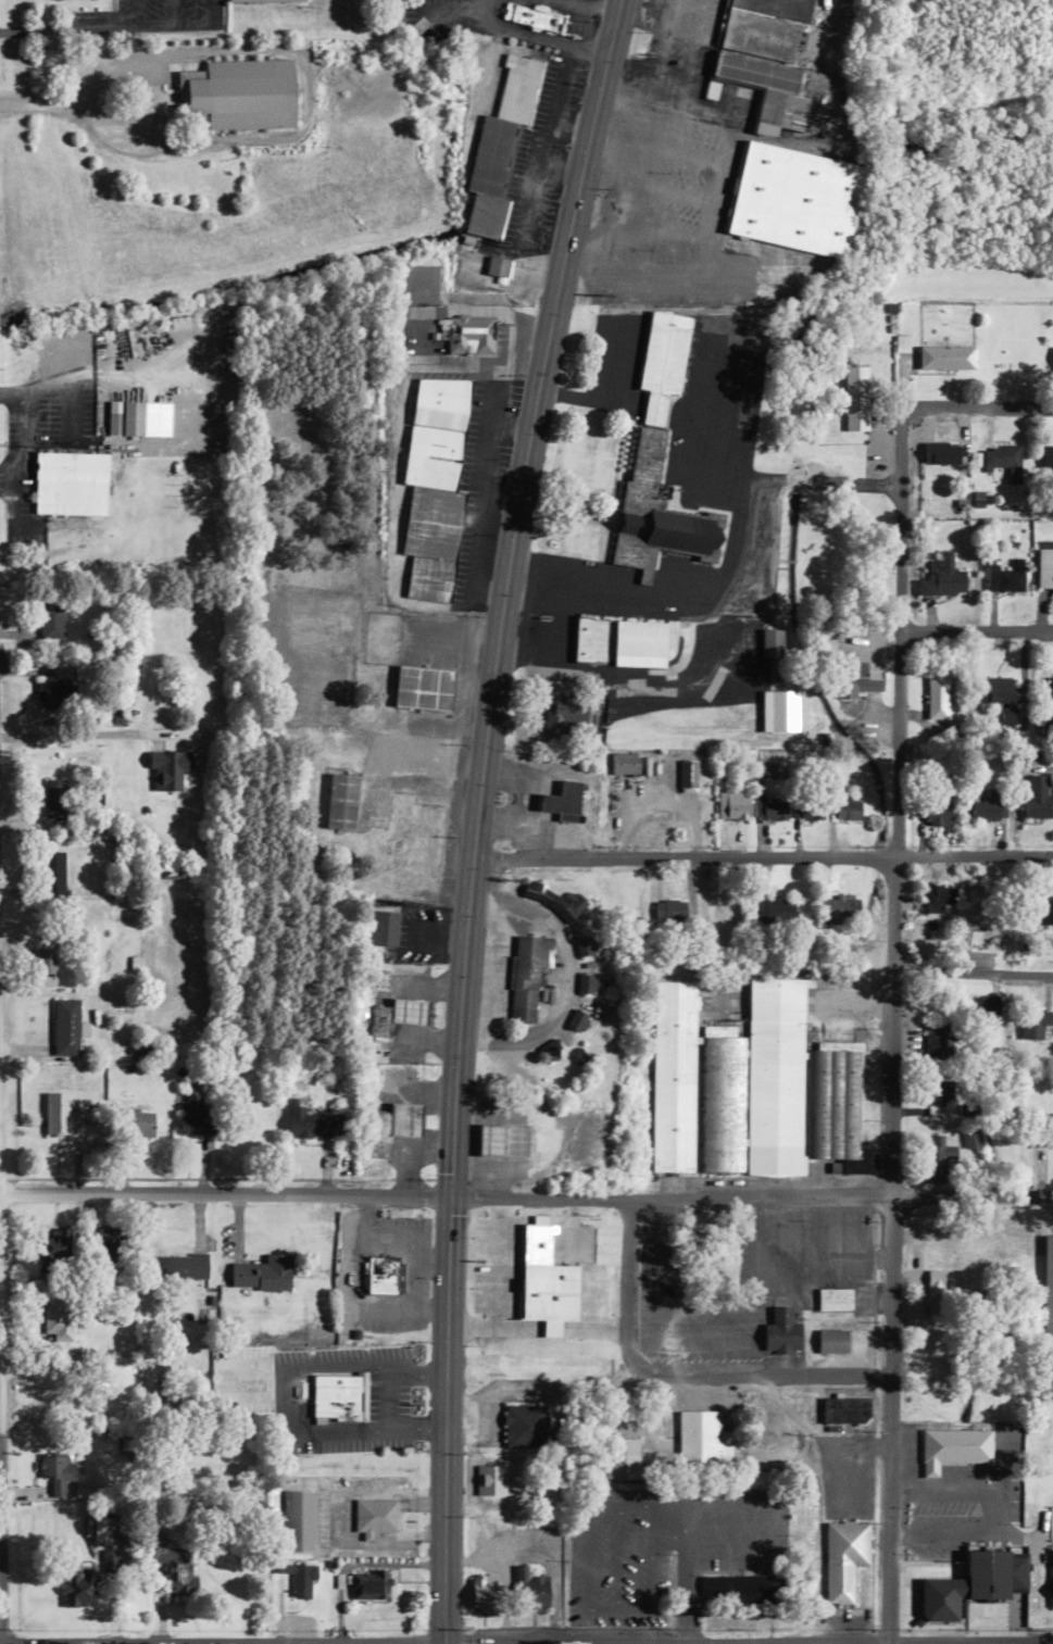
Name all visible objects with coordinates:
building: (261, 0)
road: (590, 5)
road: (457, 7)
building: (530, 15)
road: (534, 35)
building: (759, 42)
building: (237, 93)
building: (499, 143)
building: (792, 198)
building: (496, 265)
building: (469, 335)
building: (947, 356)
building: (661, 367)
building: (855, 398)
road: (979, 407)
building: (124, 418)
building: (940, 453)
building: (1046, 457)
building: (1001, 460)
building: (68, 484)
building: (433, 486)
road: (710, 500)
building: (655, 514)
building: (1044, 568)
building: (943, 577)
building: (1004, 579)
building: (372, 589)
building: (50, 620)
road: (977, 632)
building: (588, 639)
building: (639, 639)
building: (770, 642)
building: (857, 677)
building: (57, 688)
building: (422, 688)
building: (937, 696)
building: (1001, 696)
building: (564, 713)
building: (623, 763)
building: (52, 798)
building: (1038, 798)
building: (340, 801)
building: (562, 802)
building: (732, 805)
building: (987, 805)
building: (848, 807)
building: (768, 808)
building: (806, 808)
building: (936, 814)
road: (475, 815)
building: (406, 833)
road: (761, 858)
building: (172, 869)
building: (51, 877)
building: (936, 898)
building: (551, 900)
building: (979, 904)
building: (1043, 908)
building: (668, 909)
building: (840, 909)
building: (772, 911)
building: (384, 928)
building: (581, 946)
building: (43, 961)
road: (973, 972)
building: (526, 976)
building: (585, 983)
building: (981, 1008)
building: (397, 1016)
building: (577, 1020)
building: (1035, 1022)
road: (891, 1026)
building: (65, 1027)
building: (932, 1036)
building: (550, 1050)
building: (752, 1088)
building: (937, 1091)
building: (59, 1113)
building: (195, 1115)
building: (131, 1121)
building: (312, 1124)
building: (392, 1125)
building: (1052, 1128)
building: (970, 1139)
building: (502, 1140)
building: (935, 1157)
road: (526, 1199)
building: (532, 1242)
building: (51, 1243)
building: (177, 1266)
building: (261, 1272)
building: (381, 1272)
building: (935, 1290)
building: (1046, 1296)
building: (833, 1298)
building: (57, 1317)
building: (781, 1331)
building: (831, 1340)
road: (681, 1371)
building: (338, 1395)
building: (845, 1408)
building: (525, 1425)
building: (702, 1438)
building: (622, 1457)
building: (54, 1468)
building: (489, 1479)
building: (374, 1515)
building: (939, 1516)
building: (299, 1518)
building: (104, 1527)
building: (843, 1558)
building: (106, 1559)
building: (987, 1572)
building: (298, 1577)
building: (368, 1583)
building: (77, 1585)
building: (739, 1587)
building: (534, 1589)
building: (485, 1593)
building: (939, 1598)
road: (905, 1640)

